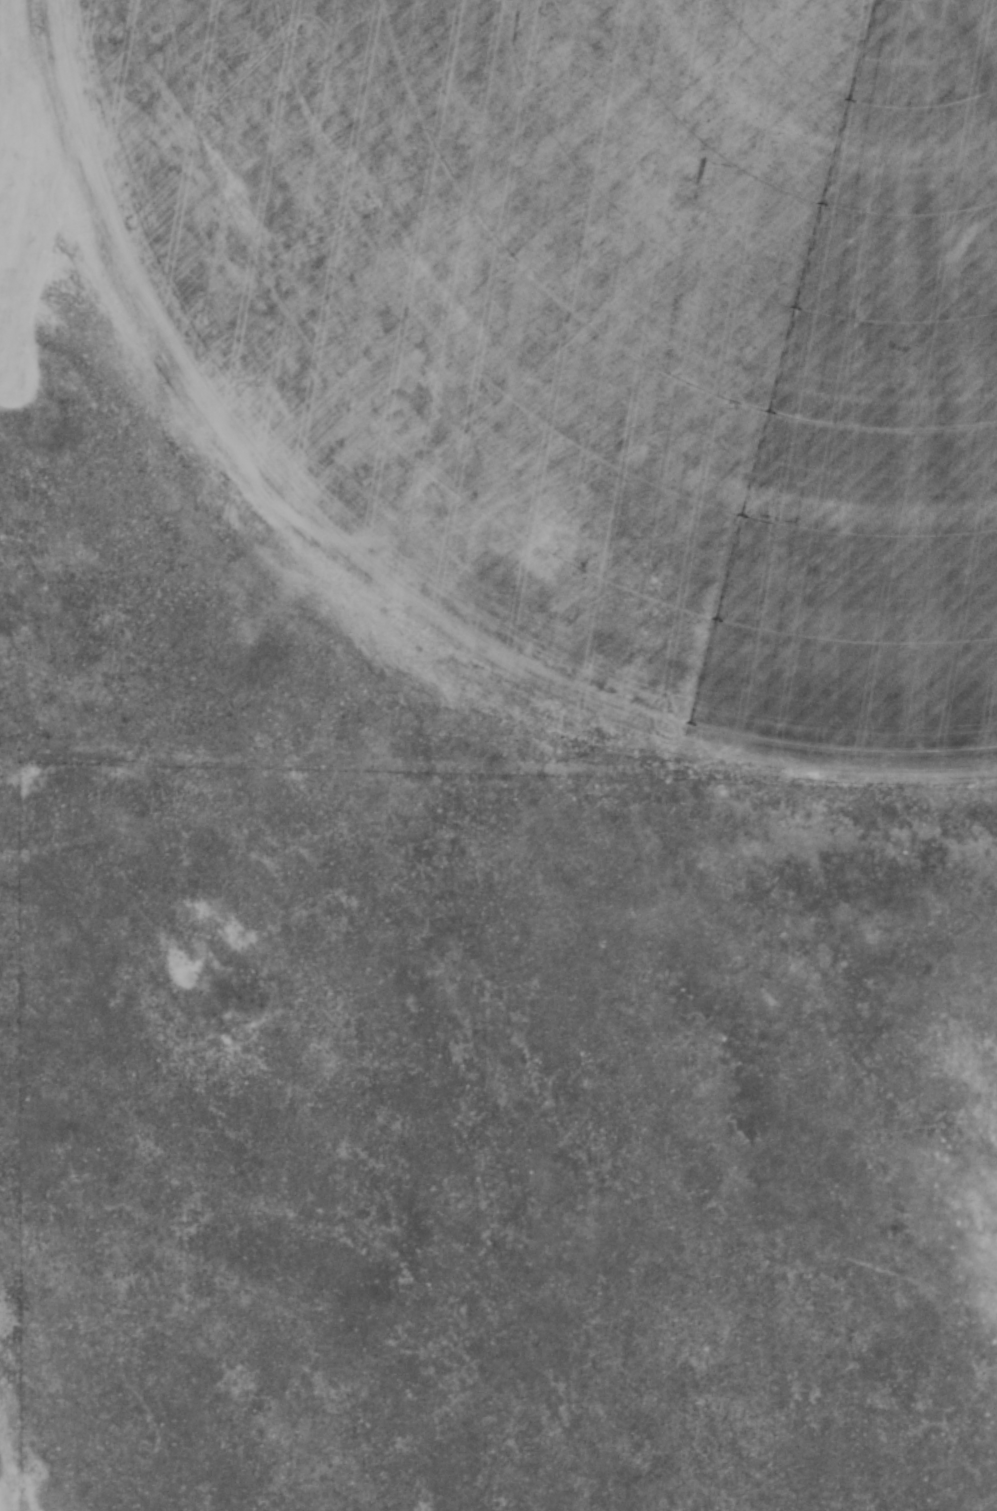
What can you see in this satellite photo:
crop: (593, 331)

